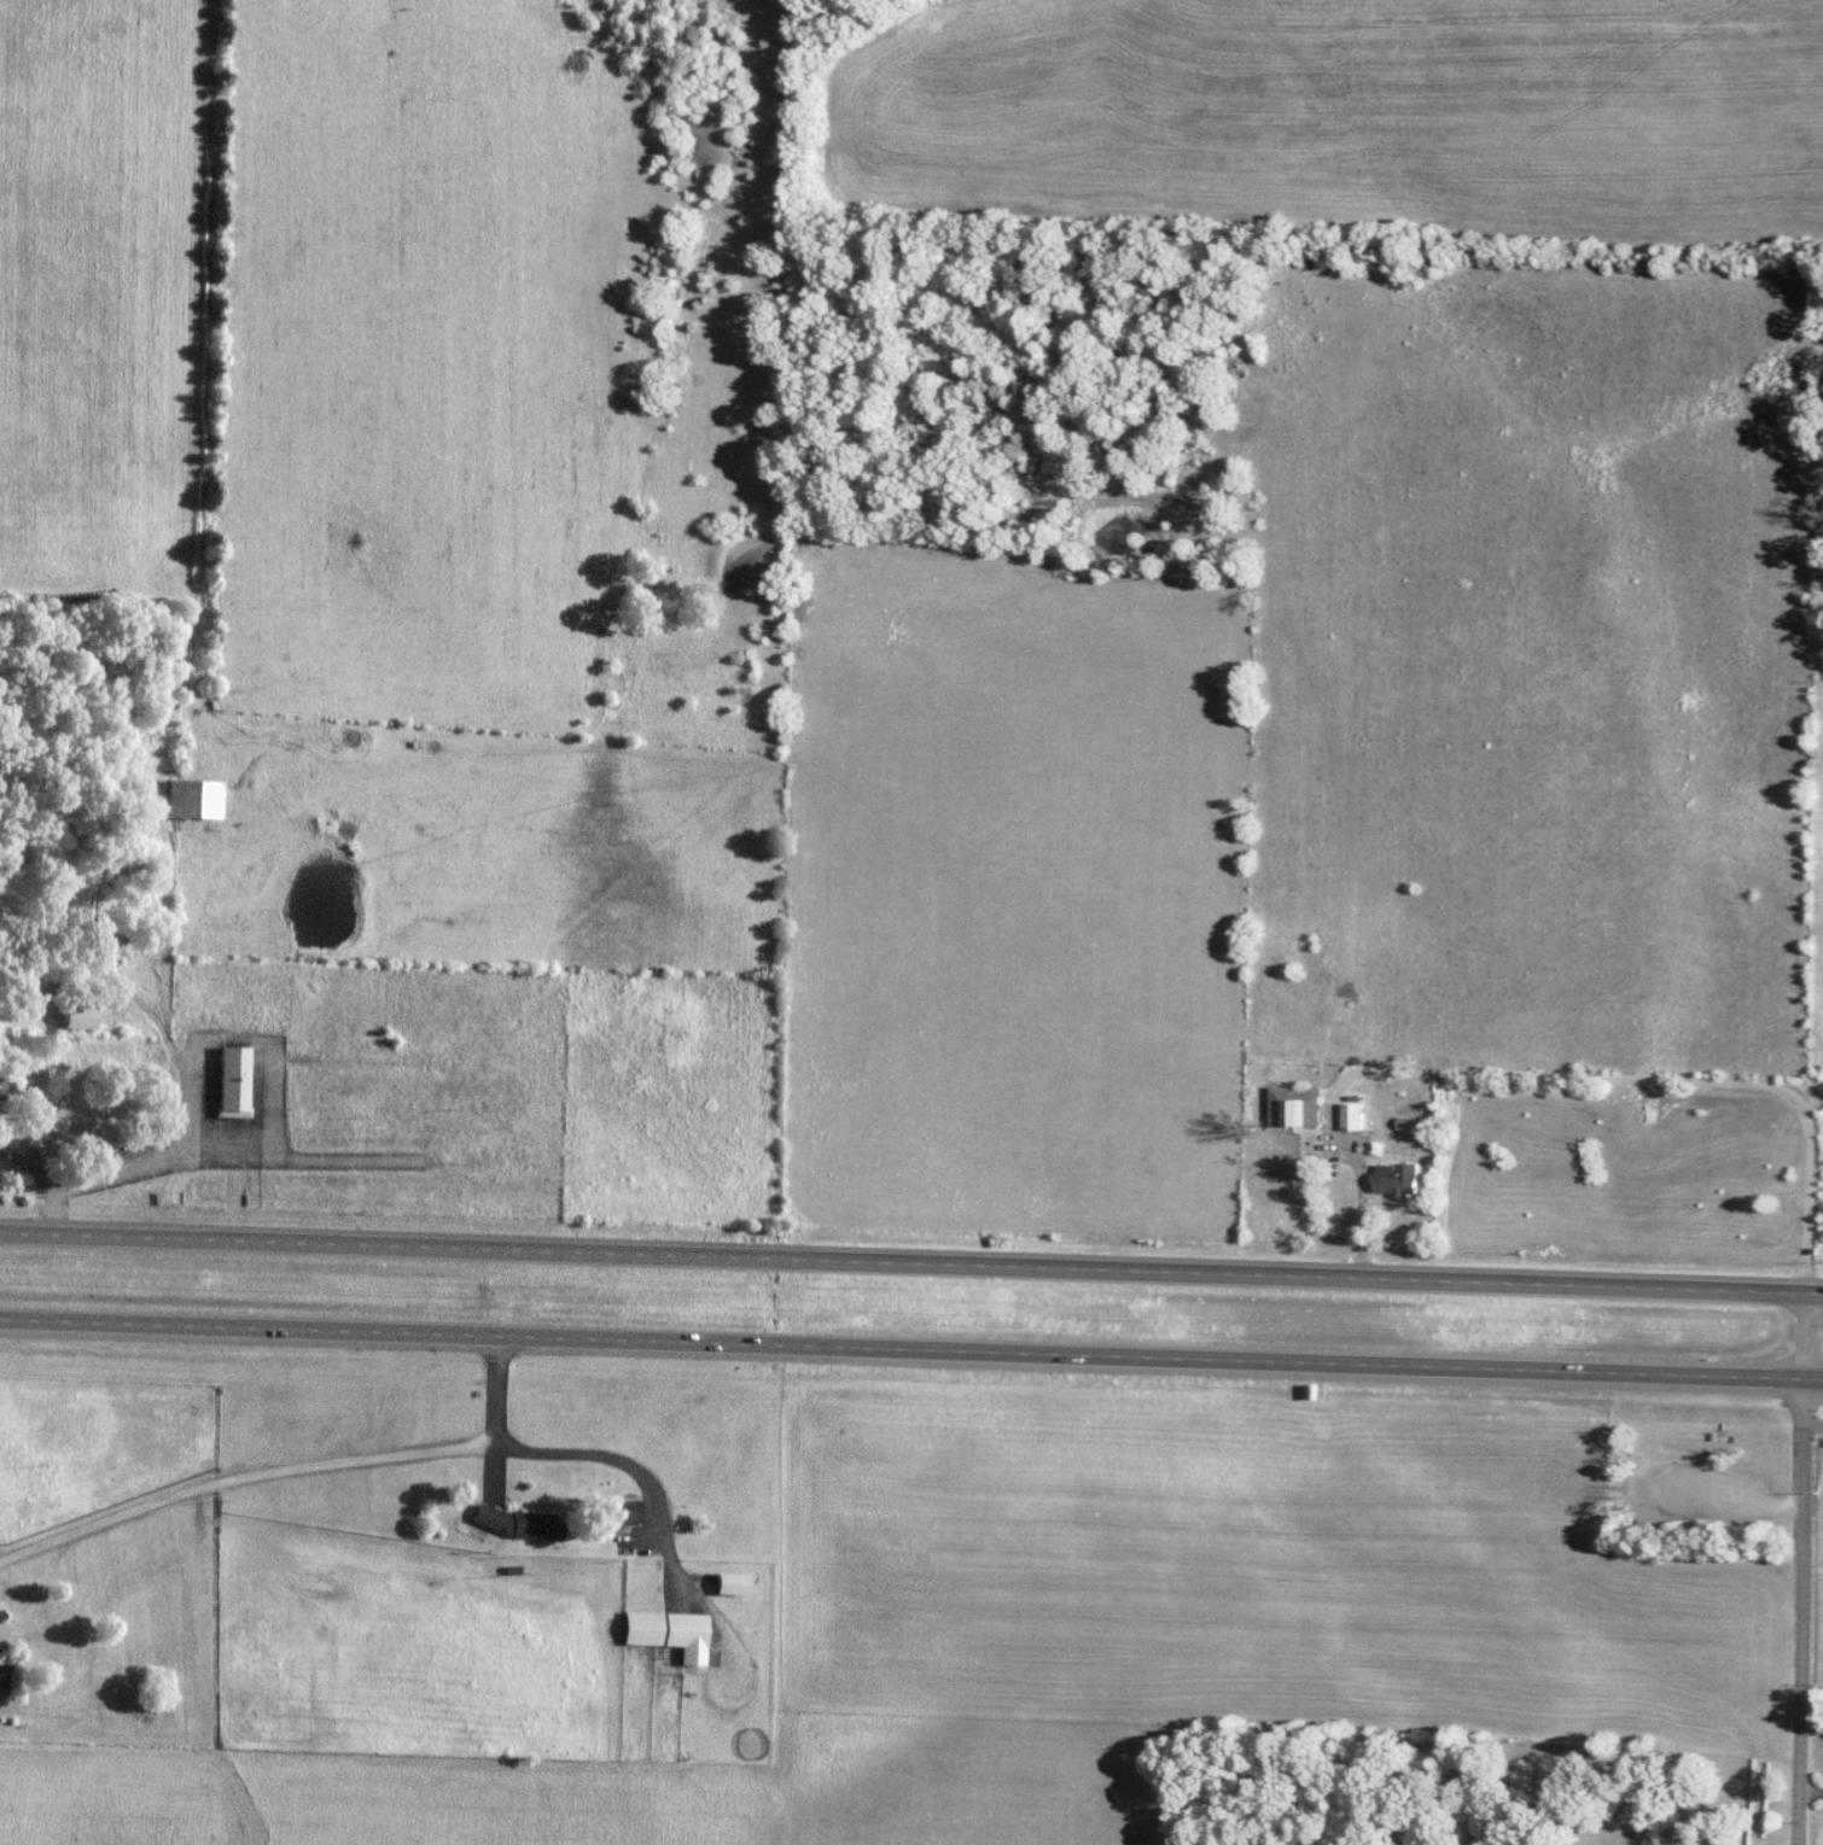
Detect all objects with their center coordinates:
building: (193, 799)
building: (77, 1016)
road: (1563, 1073)
building: (232, 1081)
building: (1295, 1107)
building: (1352, 1115)
building: (1408, 1123)
road: (29, 1167)
road: (128, 1168)
building: (1396, 1179)
road: (48, 1215)
road: (902, 1263)
road: (1813, 1294)
road: (1809, 1335)
road: (905, 1348)
road: (1817, 1377)
road: (493, 1384)
road: (601, 1453)
road: (241, 1475)
building: (625, 1512)
building: (517, 1522)
building: (729, 1582)
road: (1807, 1610)
building: (668, 1631)
road: (1813, 1792)

